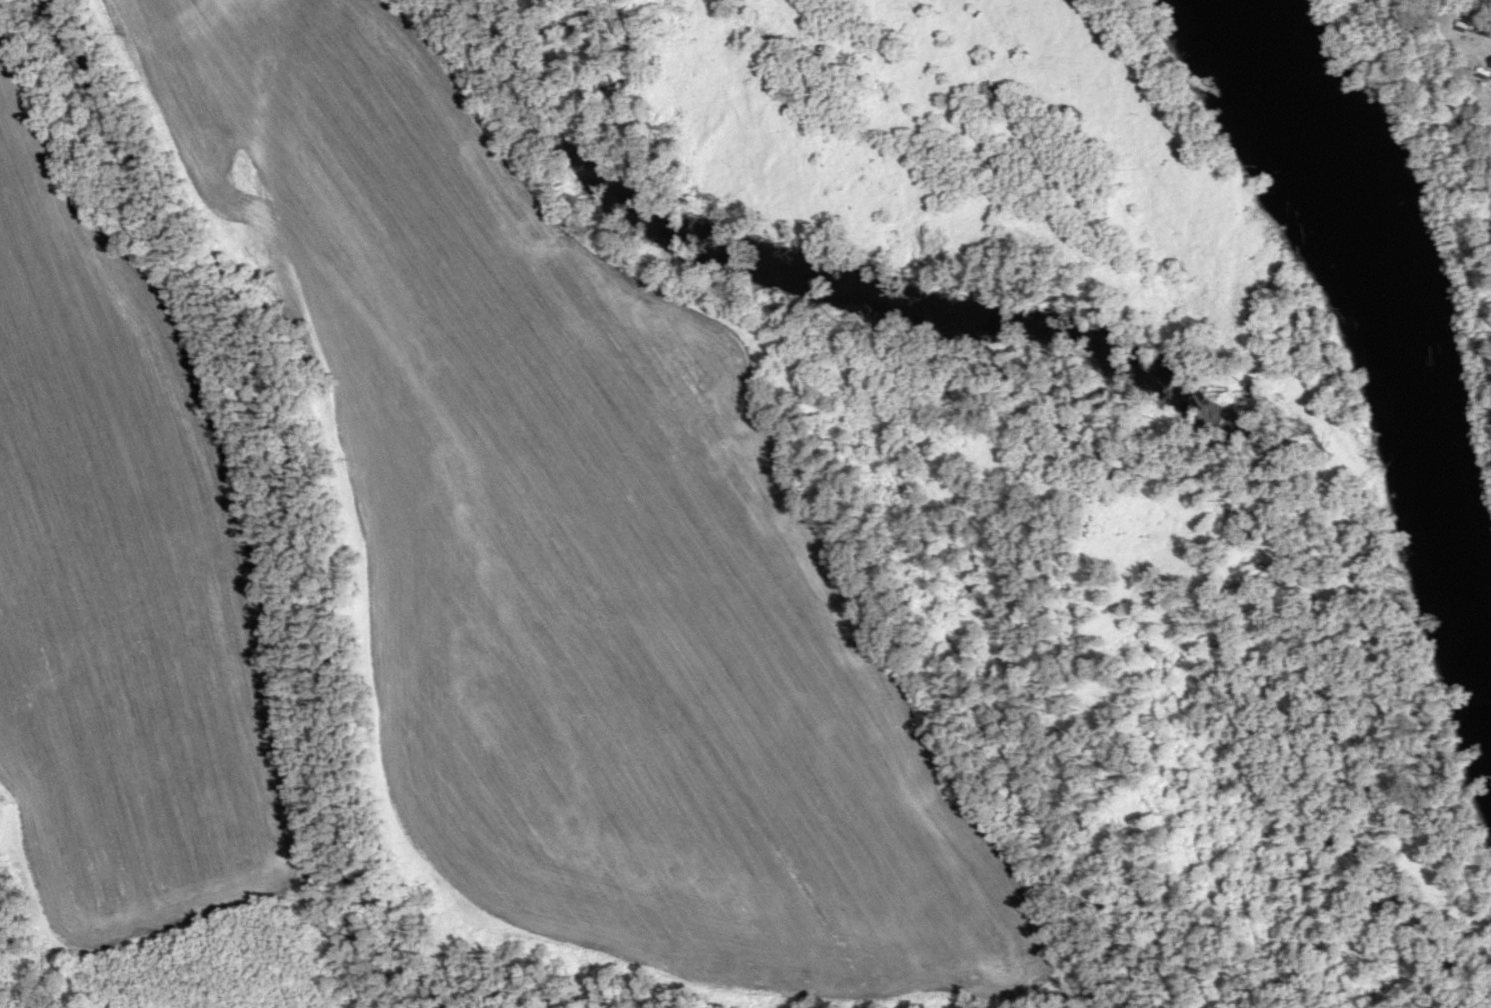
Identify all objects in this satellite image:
road: (1490, 0)
building: (1484, 74)
river: (1392, 268)

